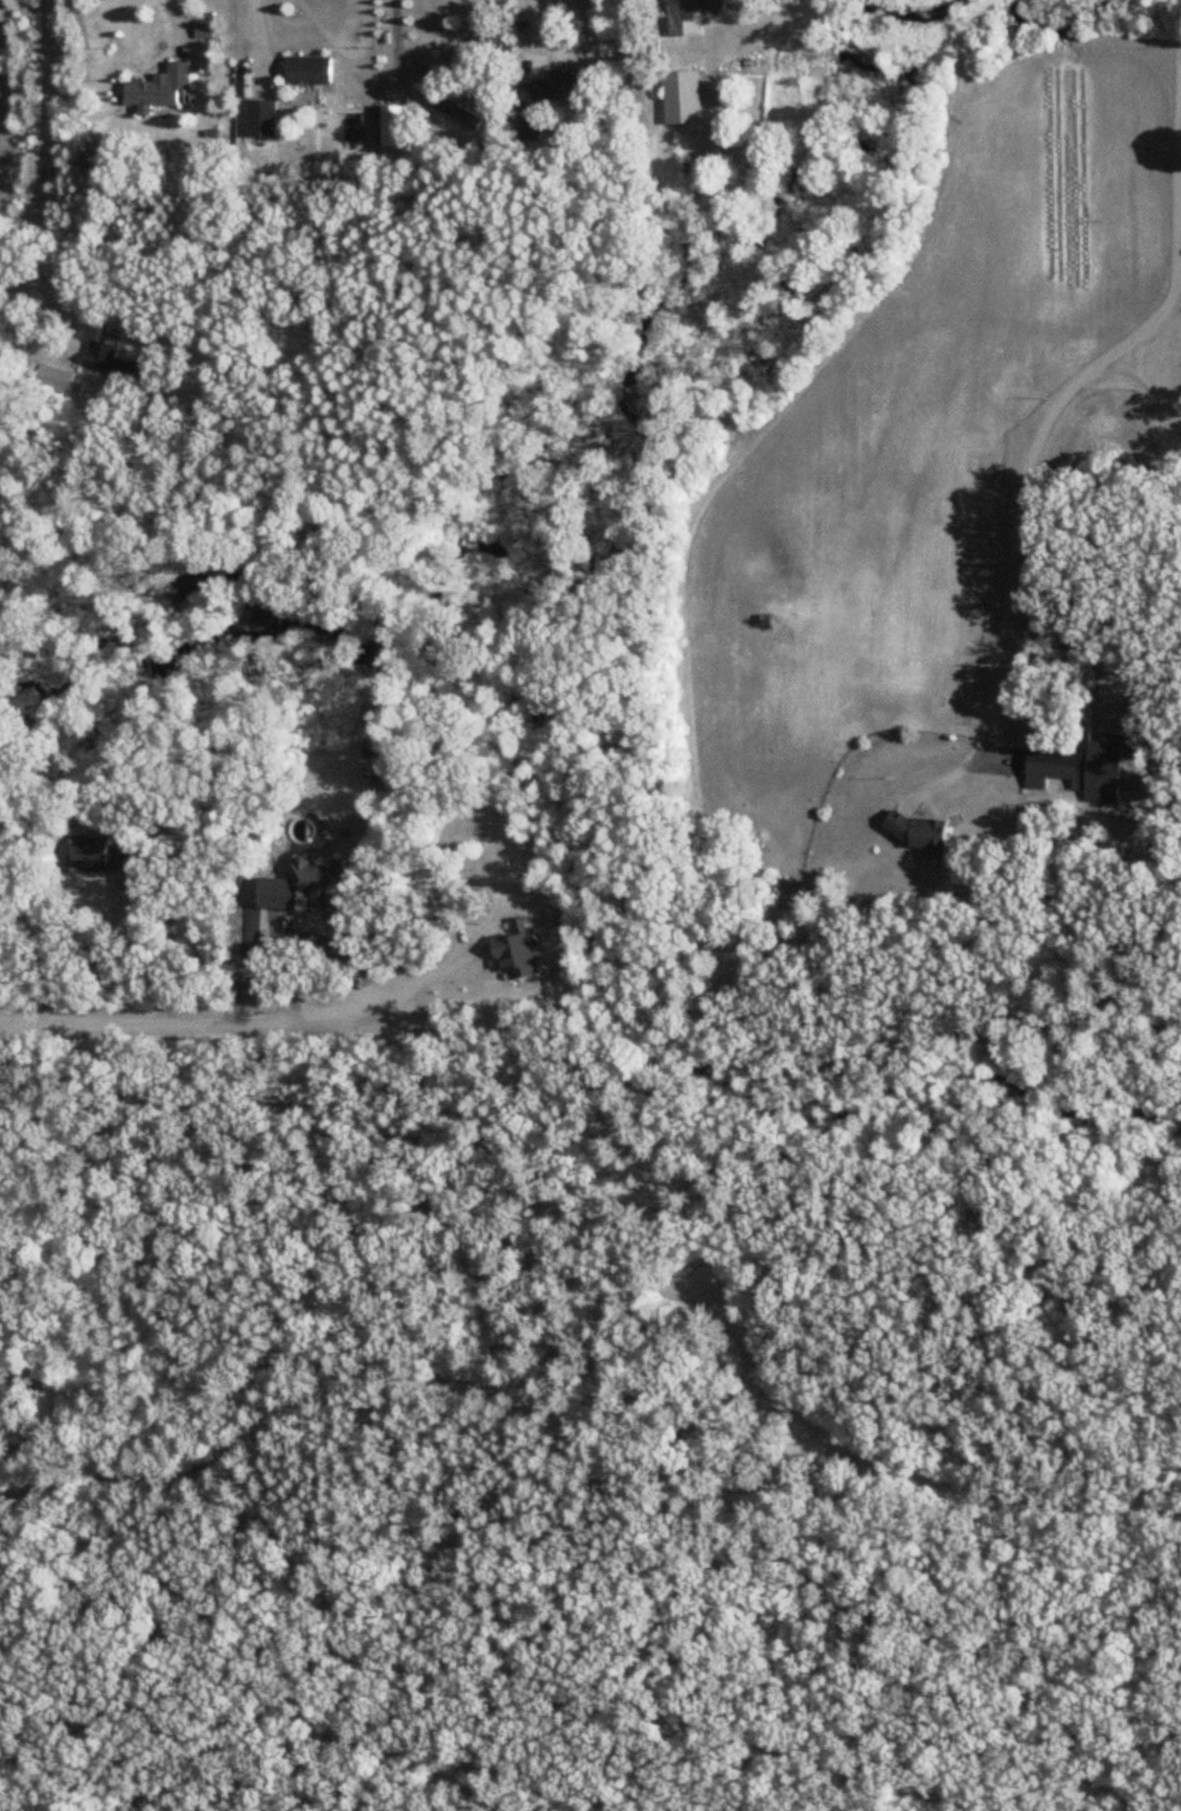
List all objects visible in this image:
building: (690, 14)
road: (259, 31)
road: (391, 34)
road: (535, 35)
building: (309, 70)
building: (160, 89)
building: (553, 90)
building: (684, 100)
building: (261, 118)
building: (470, 121)
building: (393, 126)
road: (42, 165)
building: (113, 362)
road: (1020, 516)
building: (1081, 768)
building: (920, 831)
building: (101, 855)
building: (320, 884)
road: (230, 927)
road: (422, 974)
road: (186, 1015)
road: (605, 1308)

